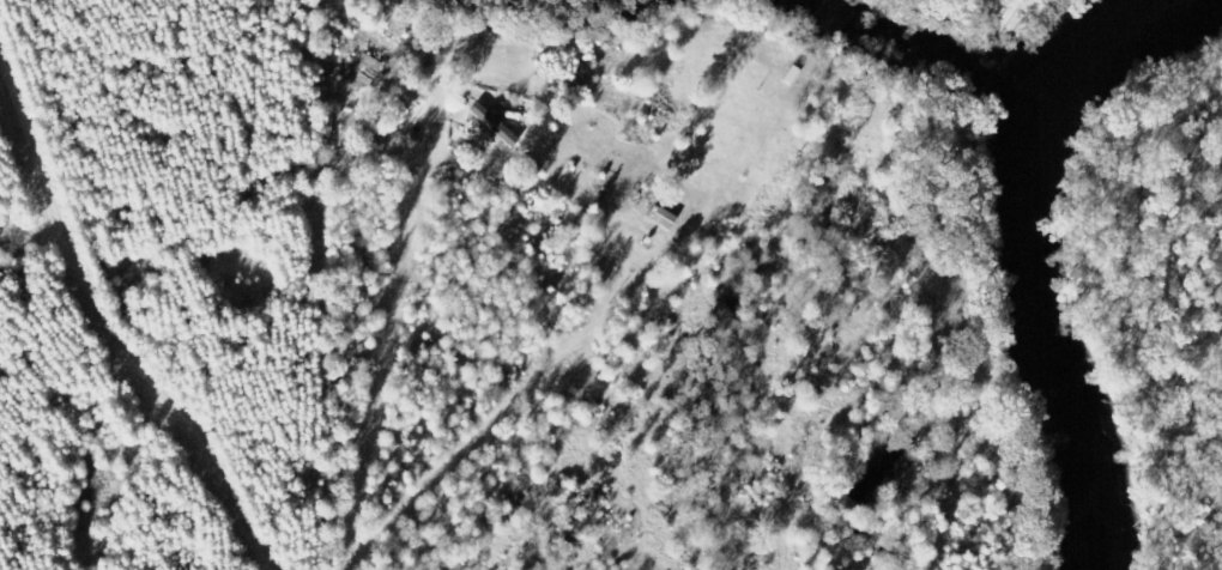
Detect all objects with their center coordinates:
river: (942, 53)
river: (1039, 251)
road: (113, 331)
road: (382, 362)

